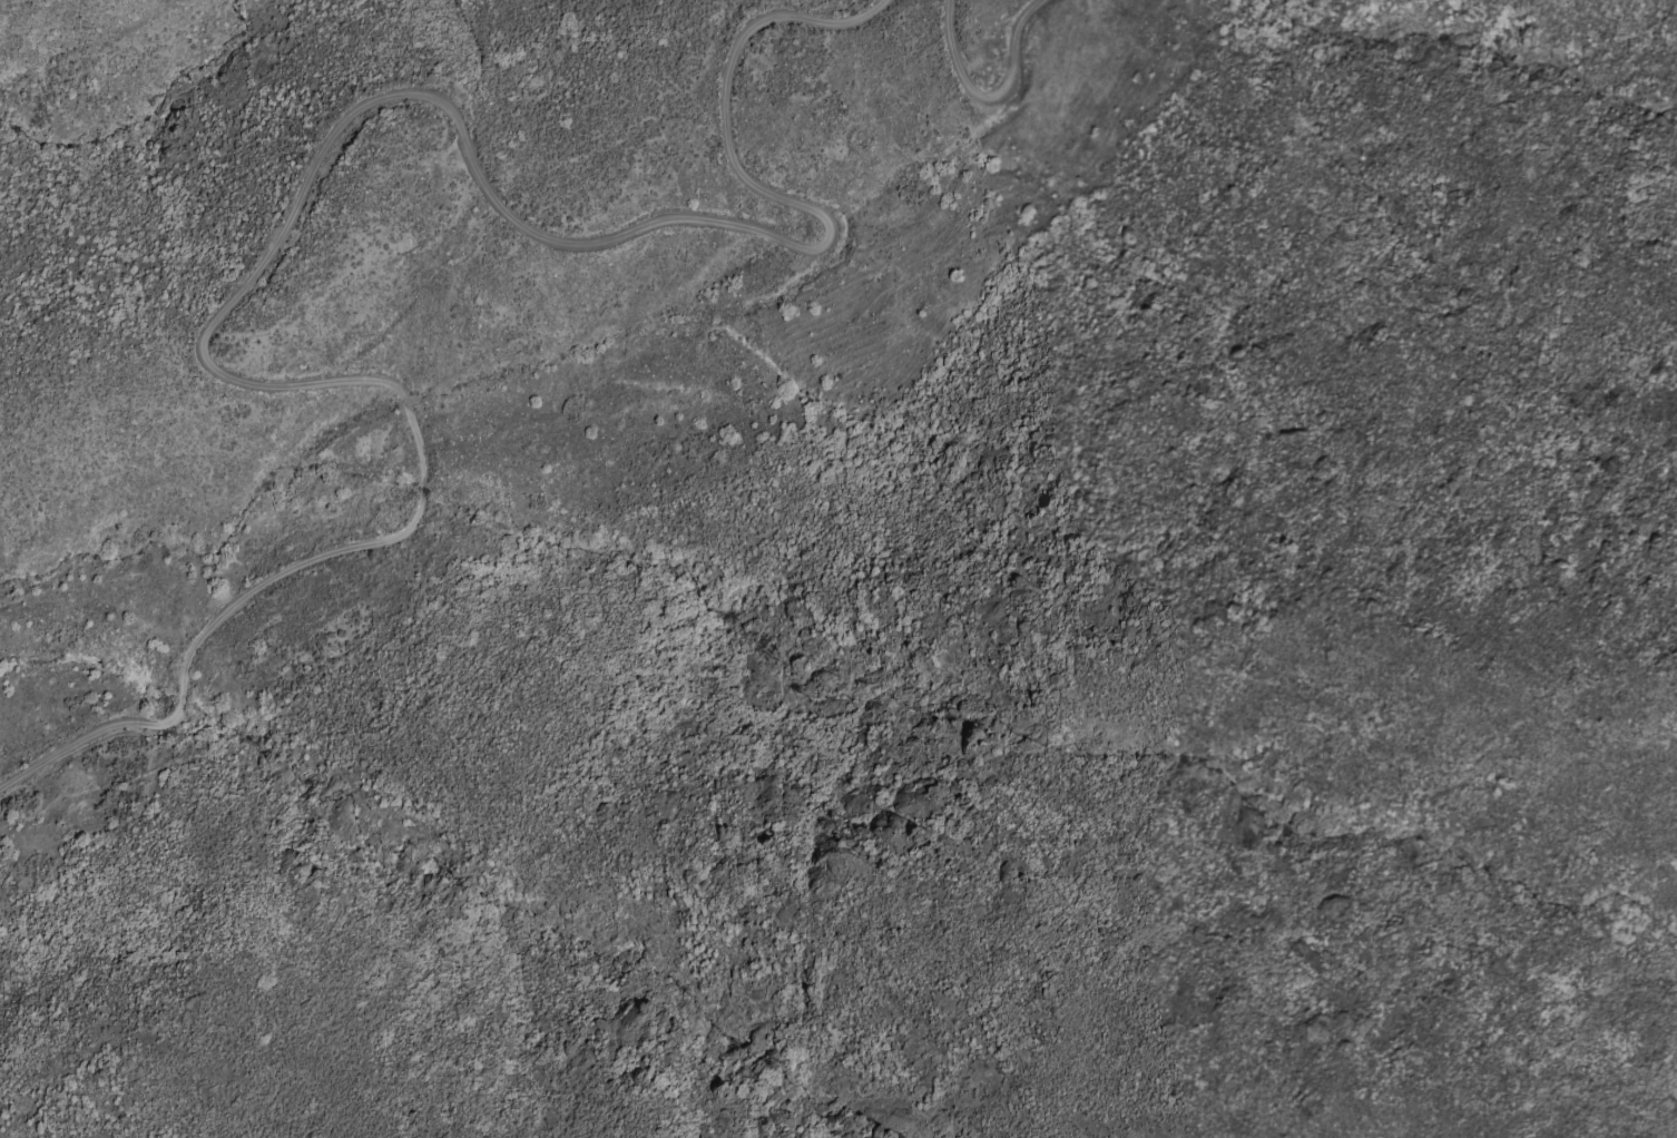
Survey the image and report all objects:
road: (979, 96)
road: (301, 184)

